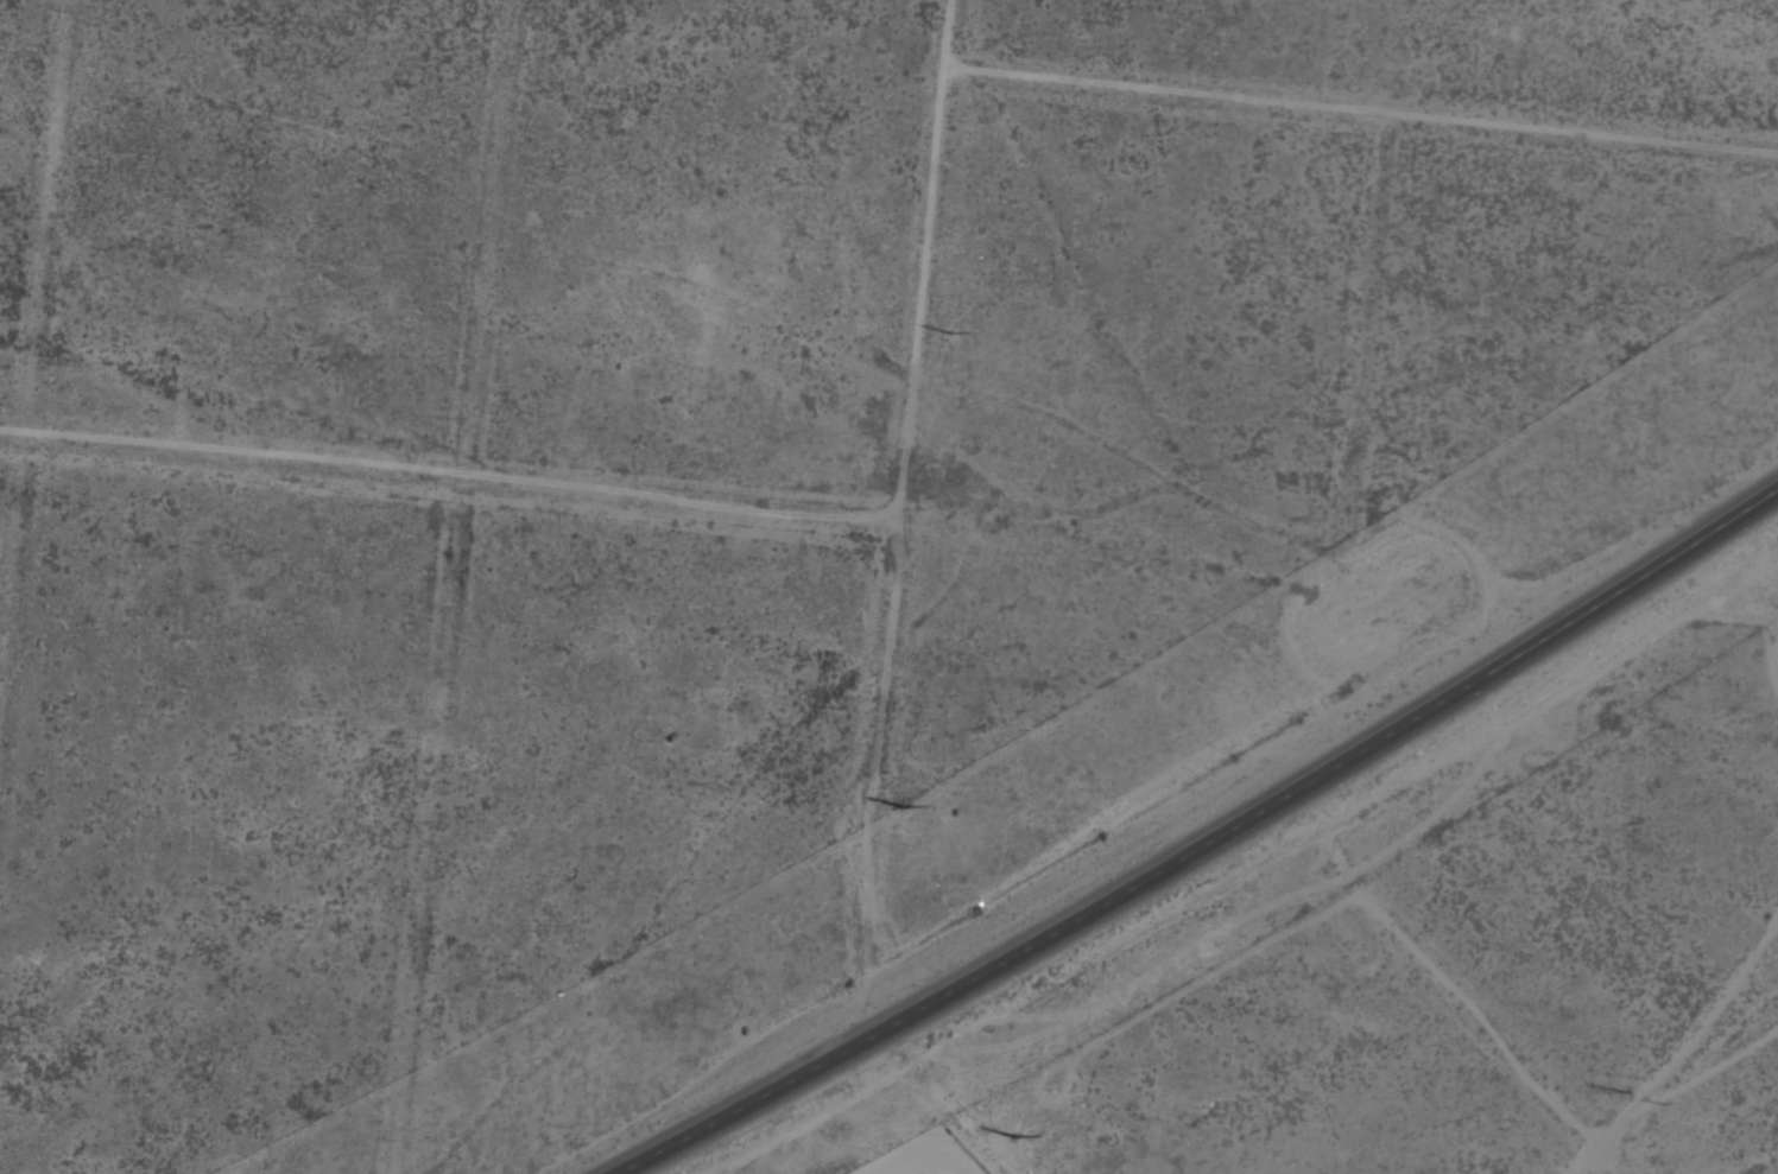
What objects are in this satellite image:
road: (1206, 844)
power tower: (1628, 1093)
landfill: (905, 1155)

